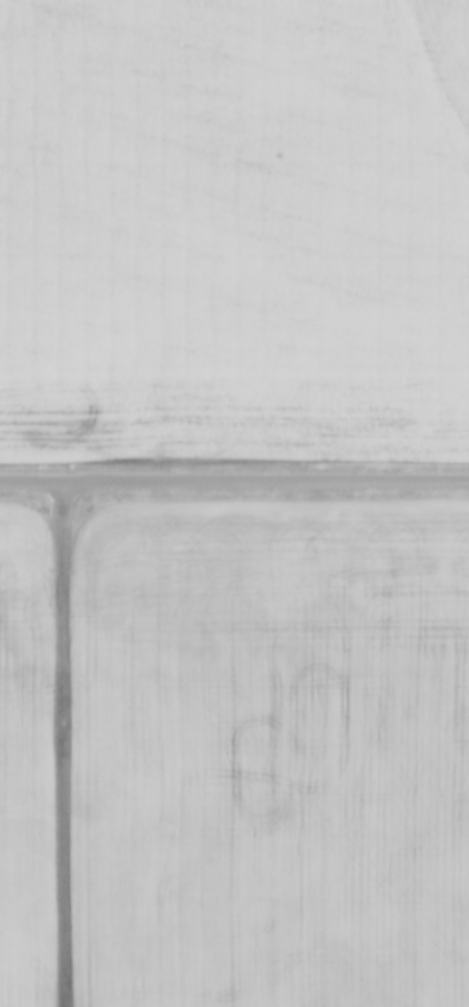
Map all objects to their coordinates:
road: (234, 478)
road: (66, 741)

